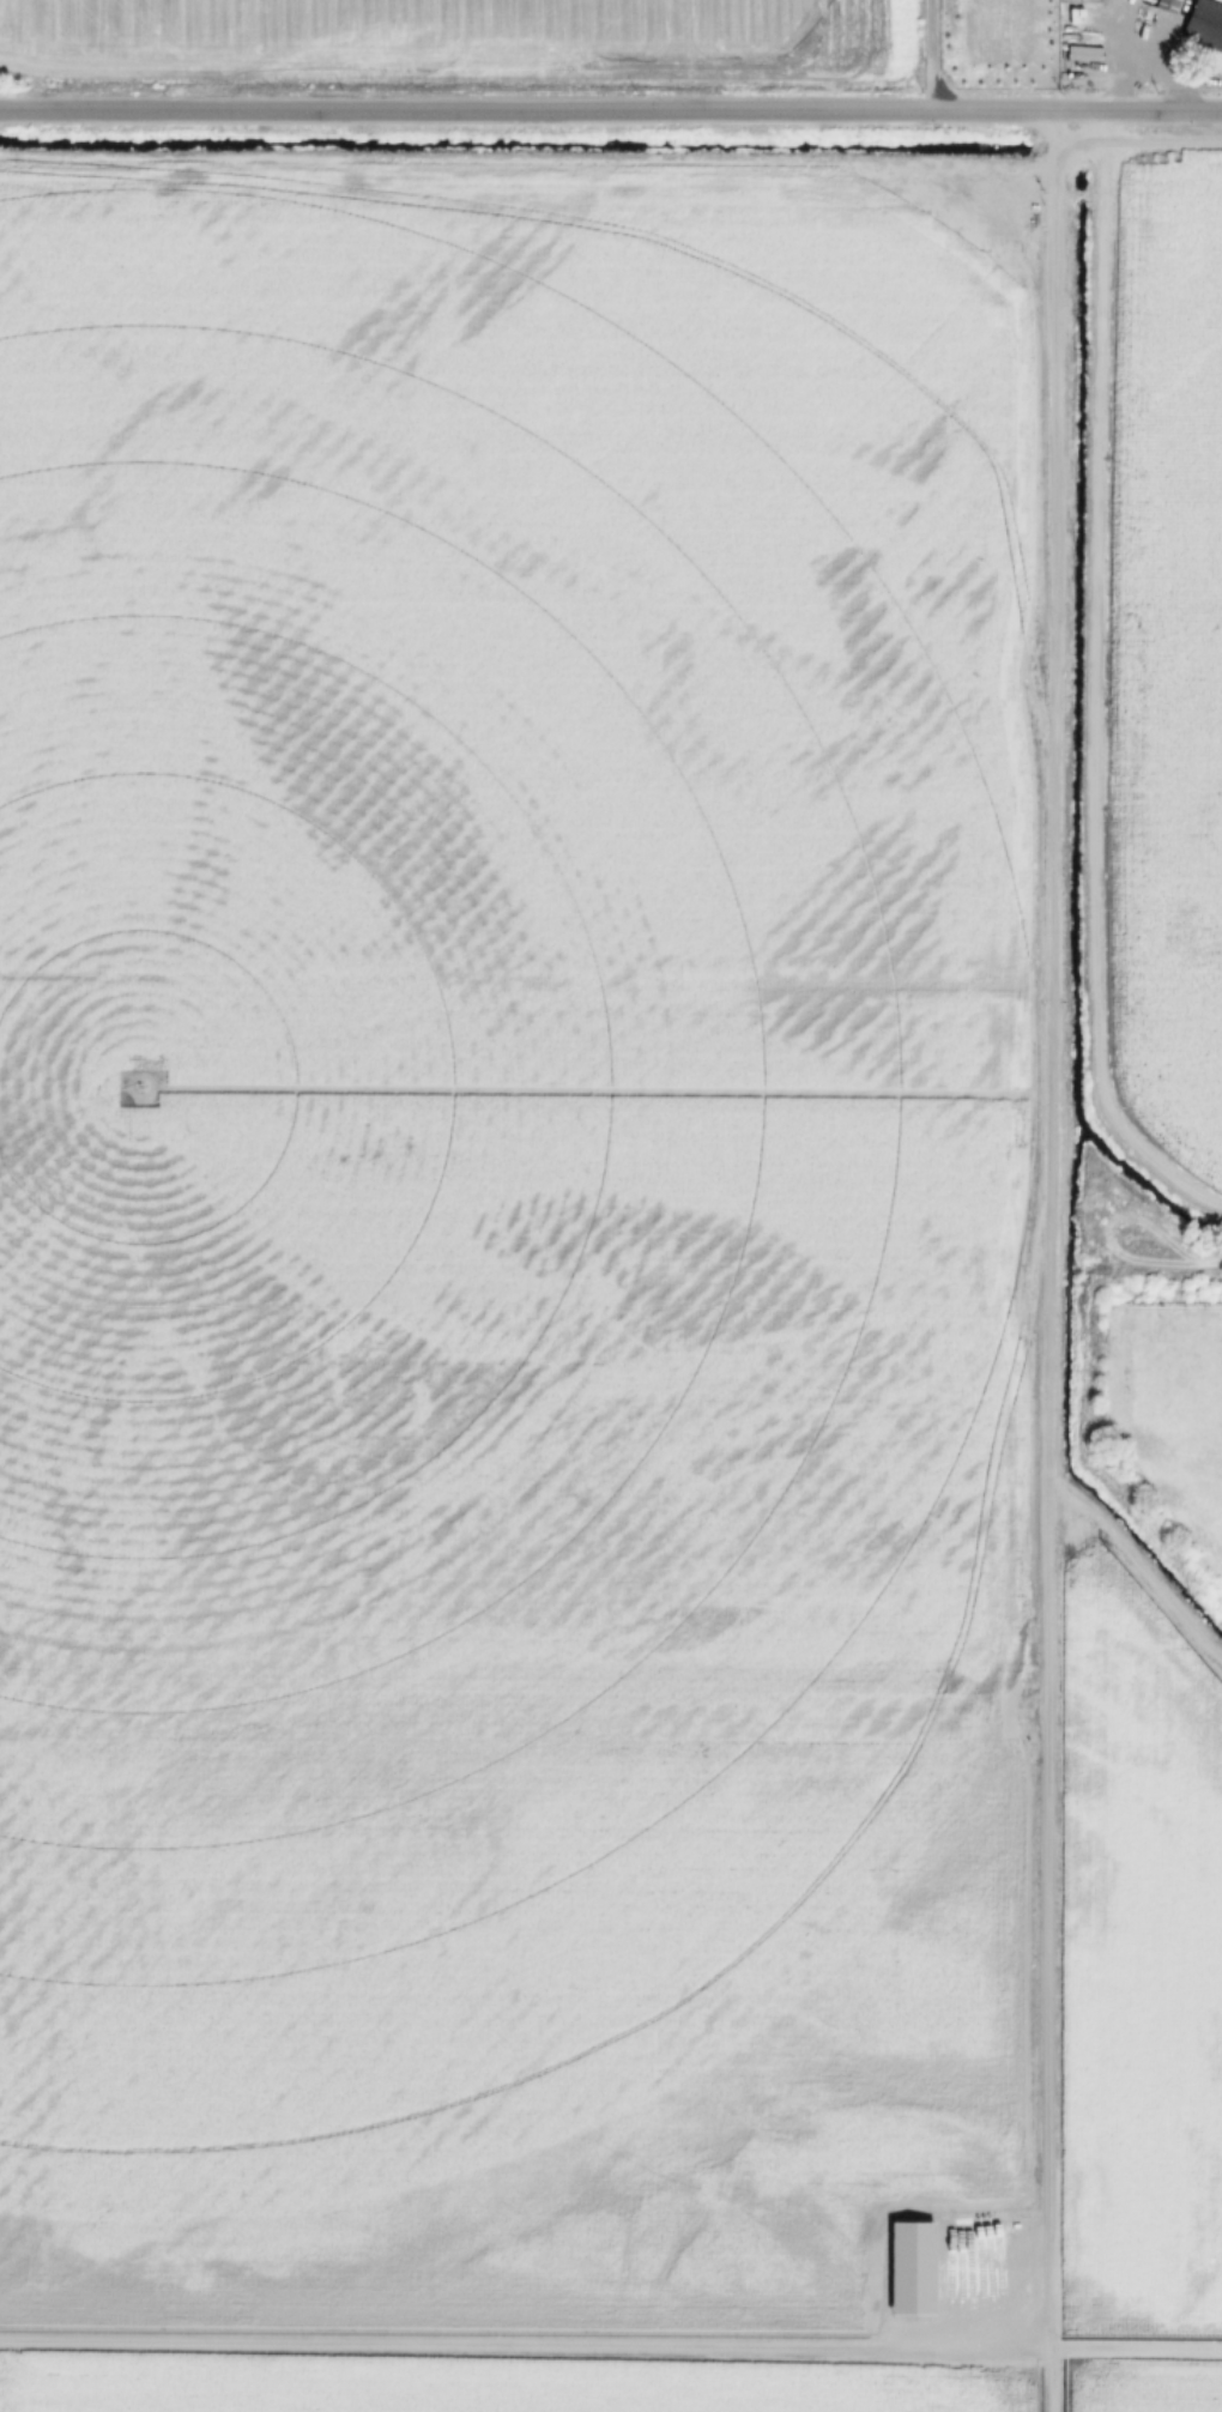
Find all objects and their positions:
building: (1164, 5)
building: (1202, 25)
road: (931, 56)
road: (1137, 58)
road: (610, 114)
road: (496, 2343)

